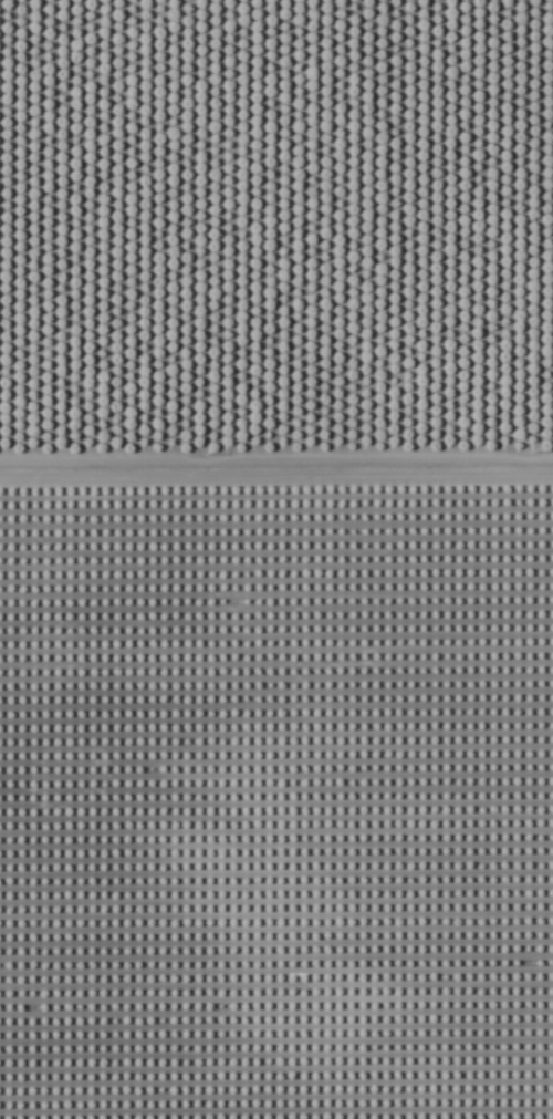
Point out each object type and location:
road: (276, 505)

